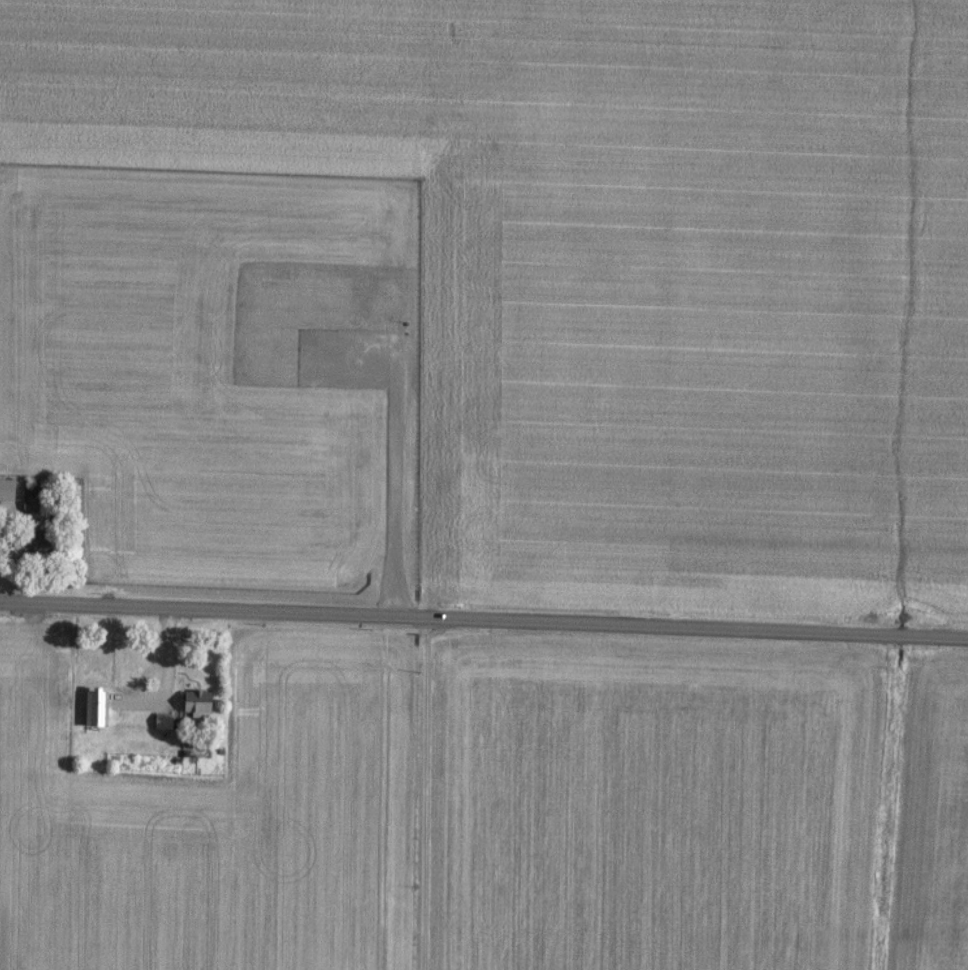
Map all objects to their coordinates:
crop: (572, 257)
crop: (941, 335)
crop: (218, 378)
road: (483, 618)
road: (170, 666)
building: (195, 701)
building: (96, 708)
building: (161, 720)
road: (428, 793)

